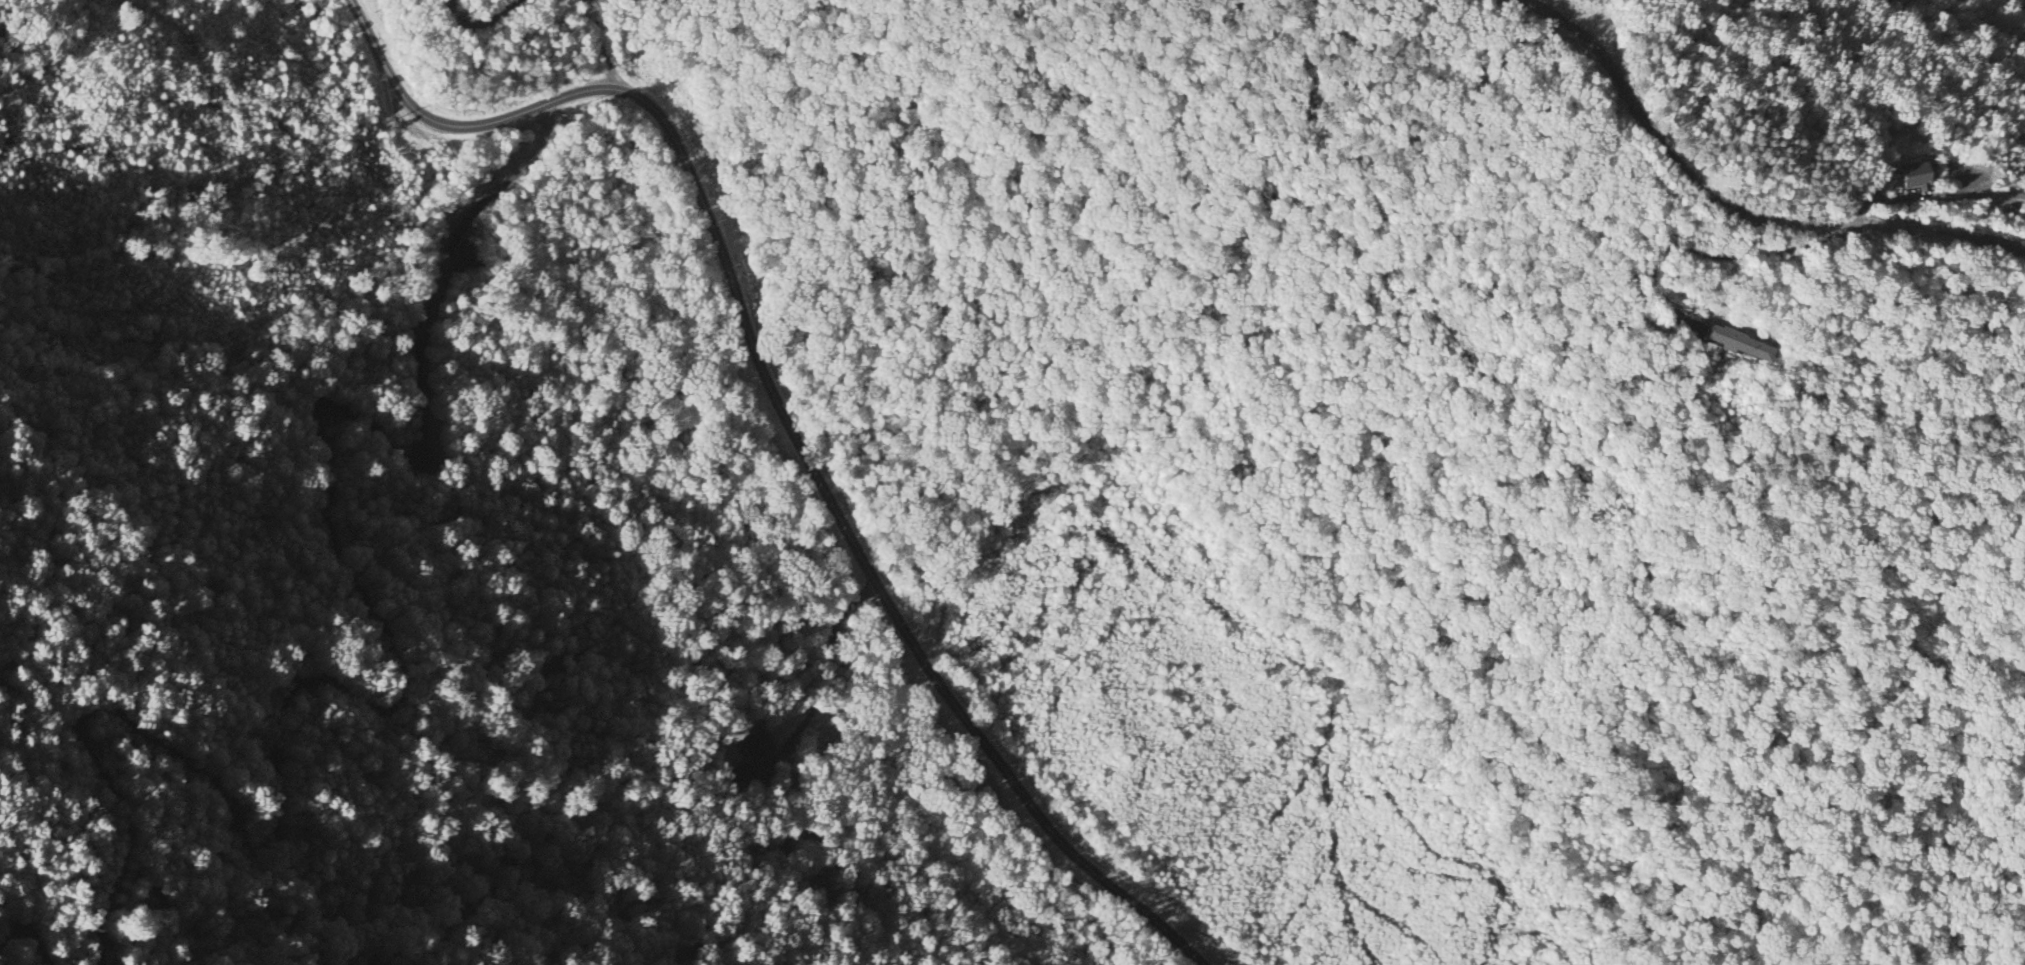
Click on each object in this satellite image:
road: (479, 15)
road: (601, 46)
building: (1918, 177)
road: (1732, 212)
road: (1703, 254)
building: (1740, 345)
road: (779, 406)
road: (394, 692)
building: (761, 746)
building: (742, 772)
road: (41, 916)

